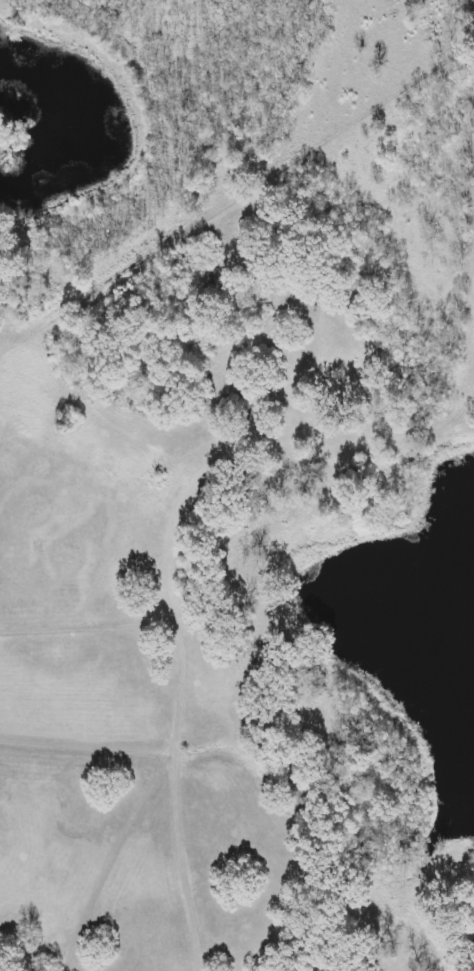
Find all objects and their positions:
road: (182, 706)

